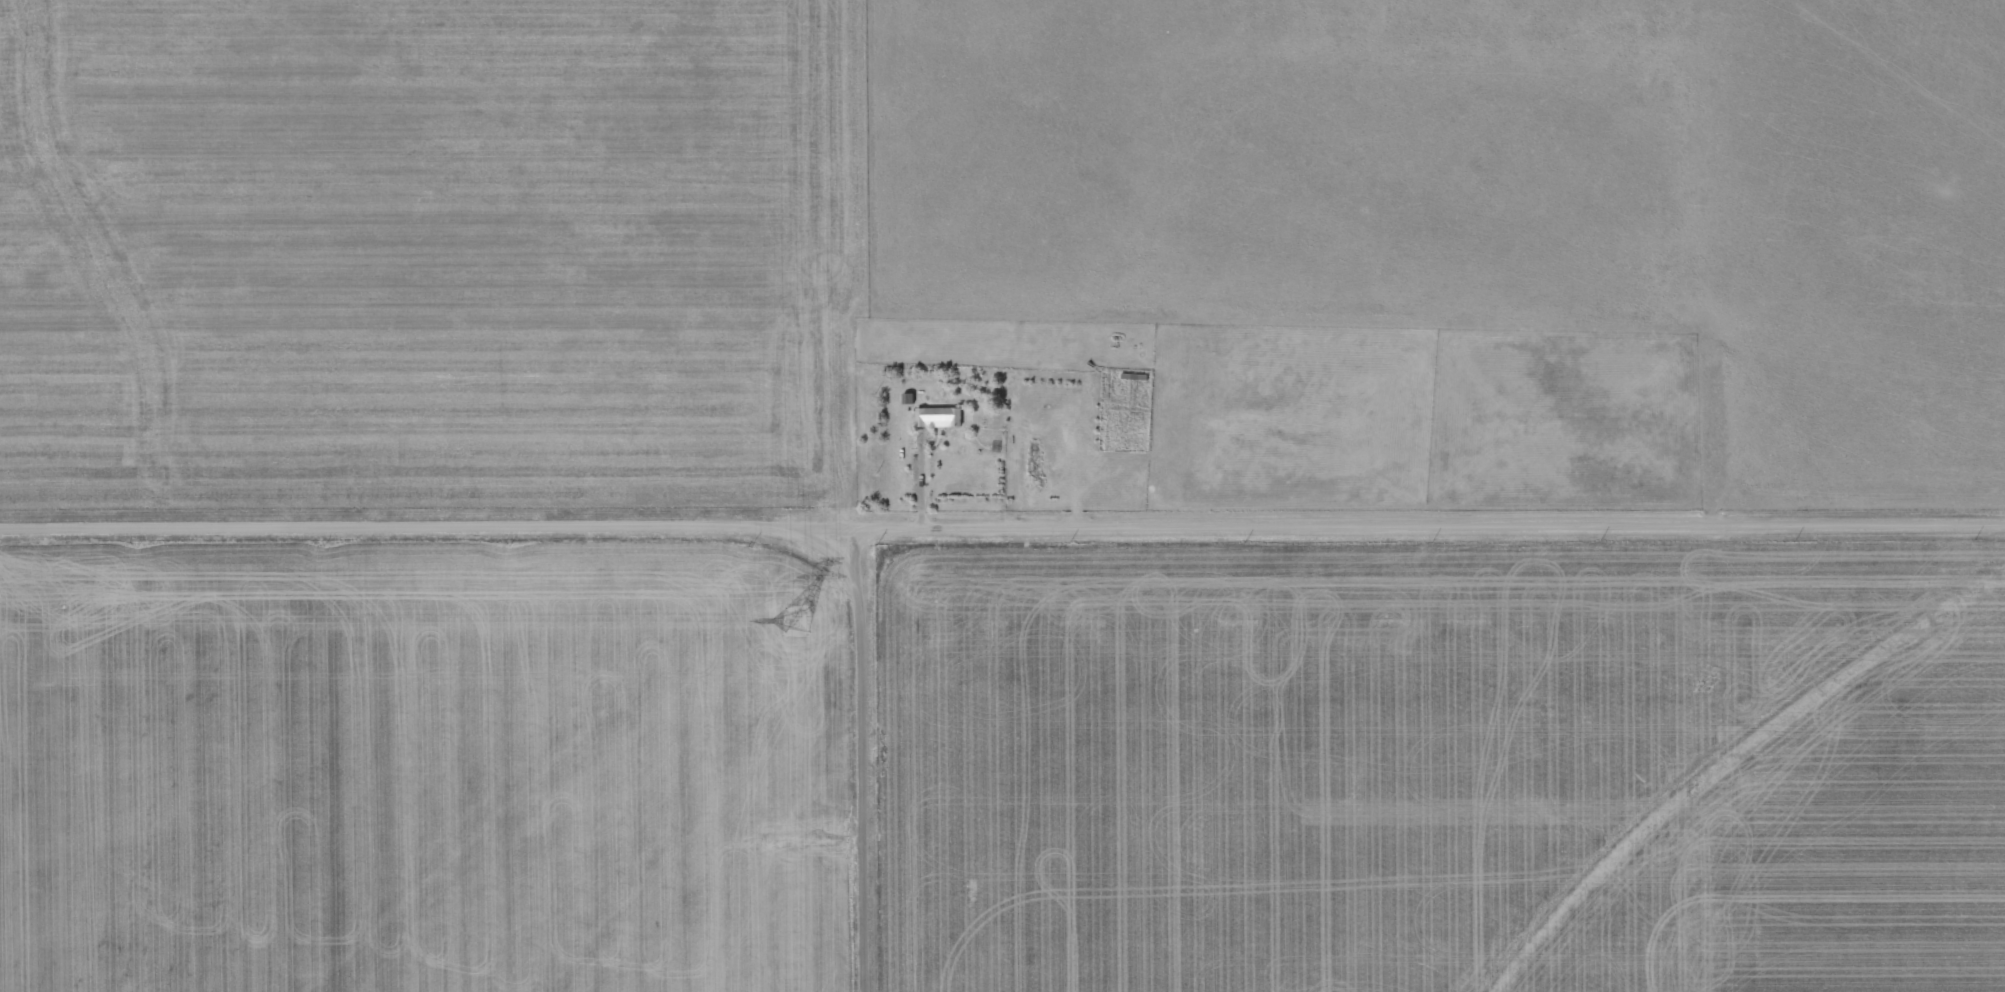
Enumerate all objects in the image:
building: (903, 397)
building: (934, 416)
road: (1002, 525)
power tower: (793, 621)
road: (866, 758)

